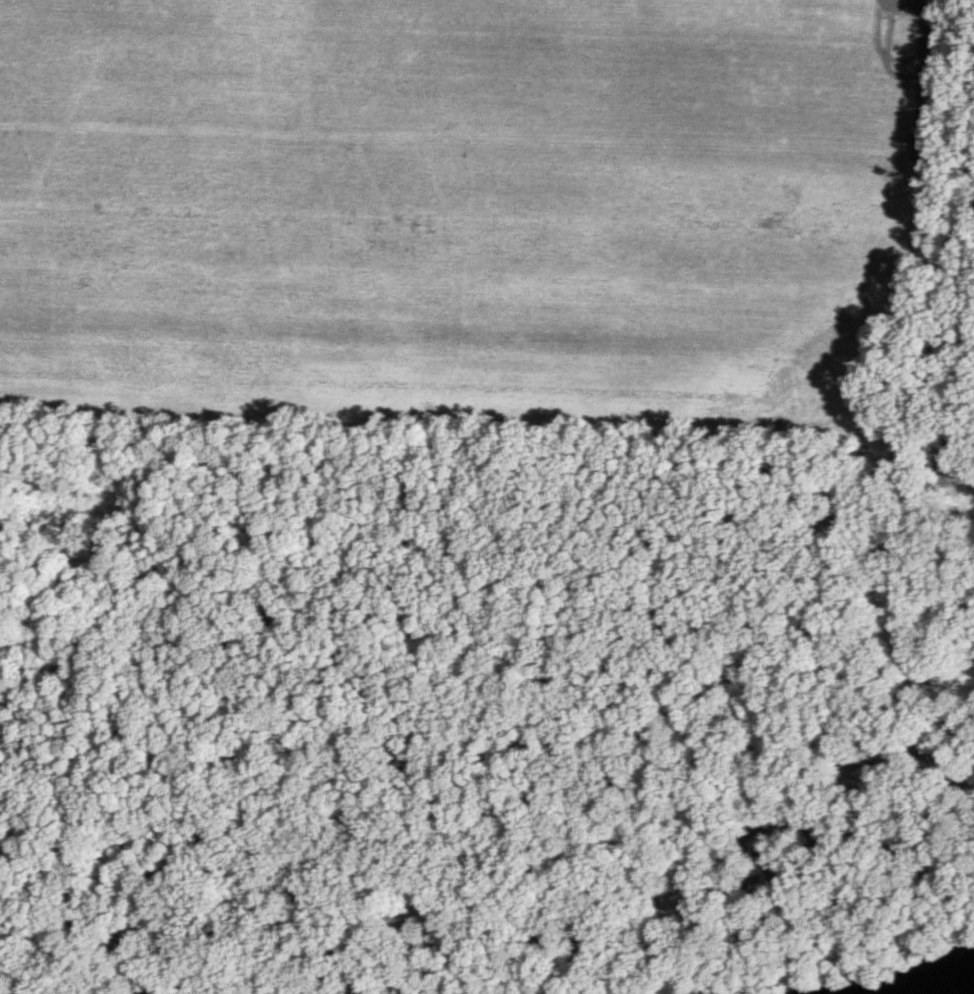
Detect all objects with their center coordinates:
river: (939, 978)

